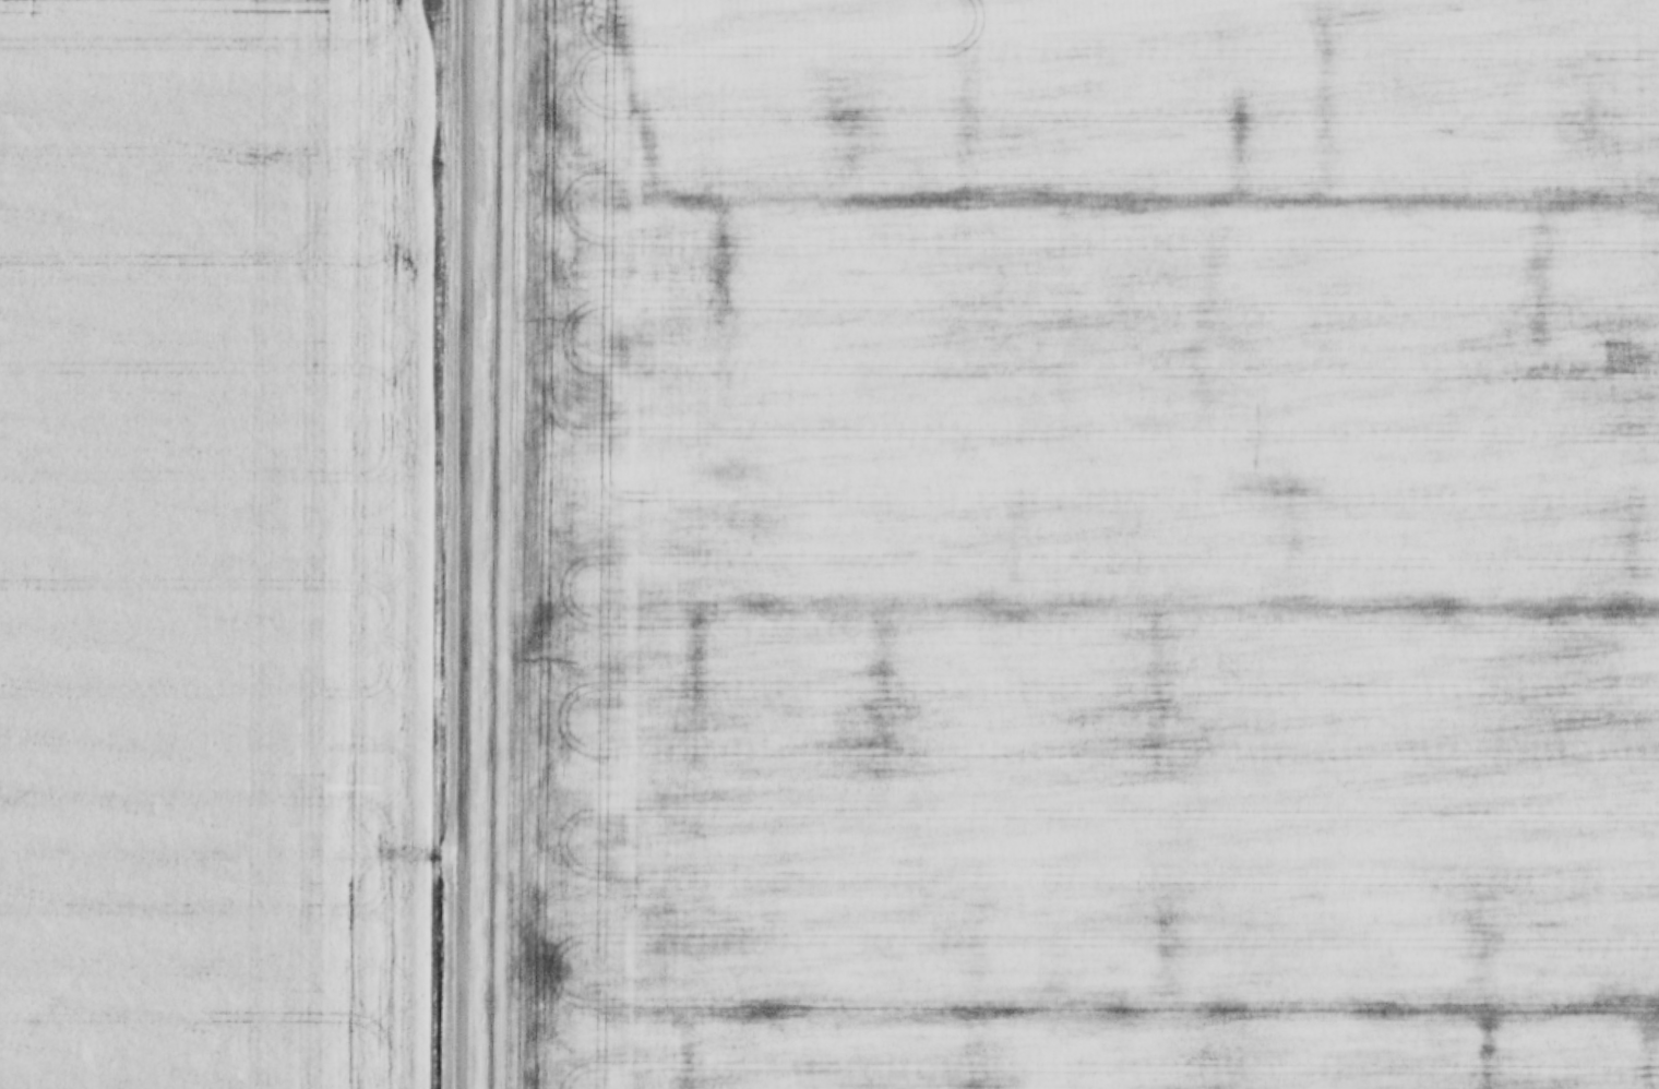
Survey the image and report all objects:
road: (461, 544)

